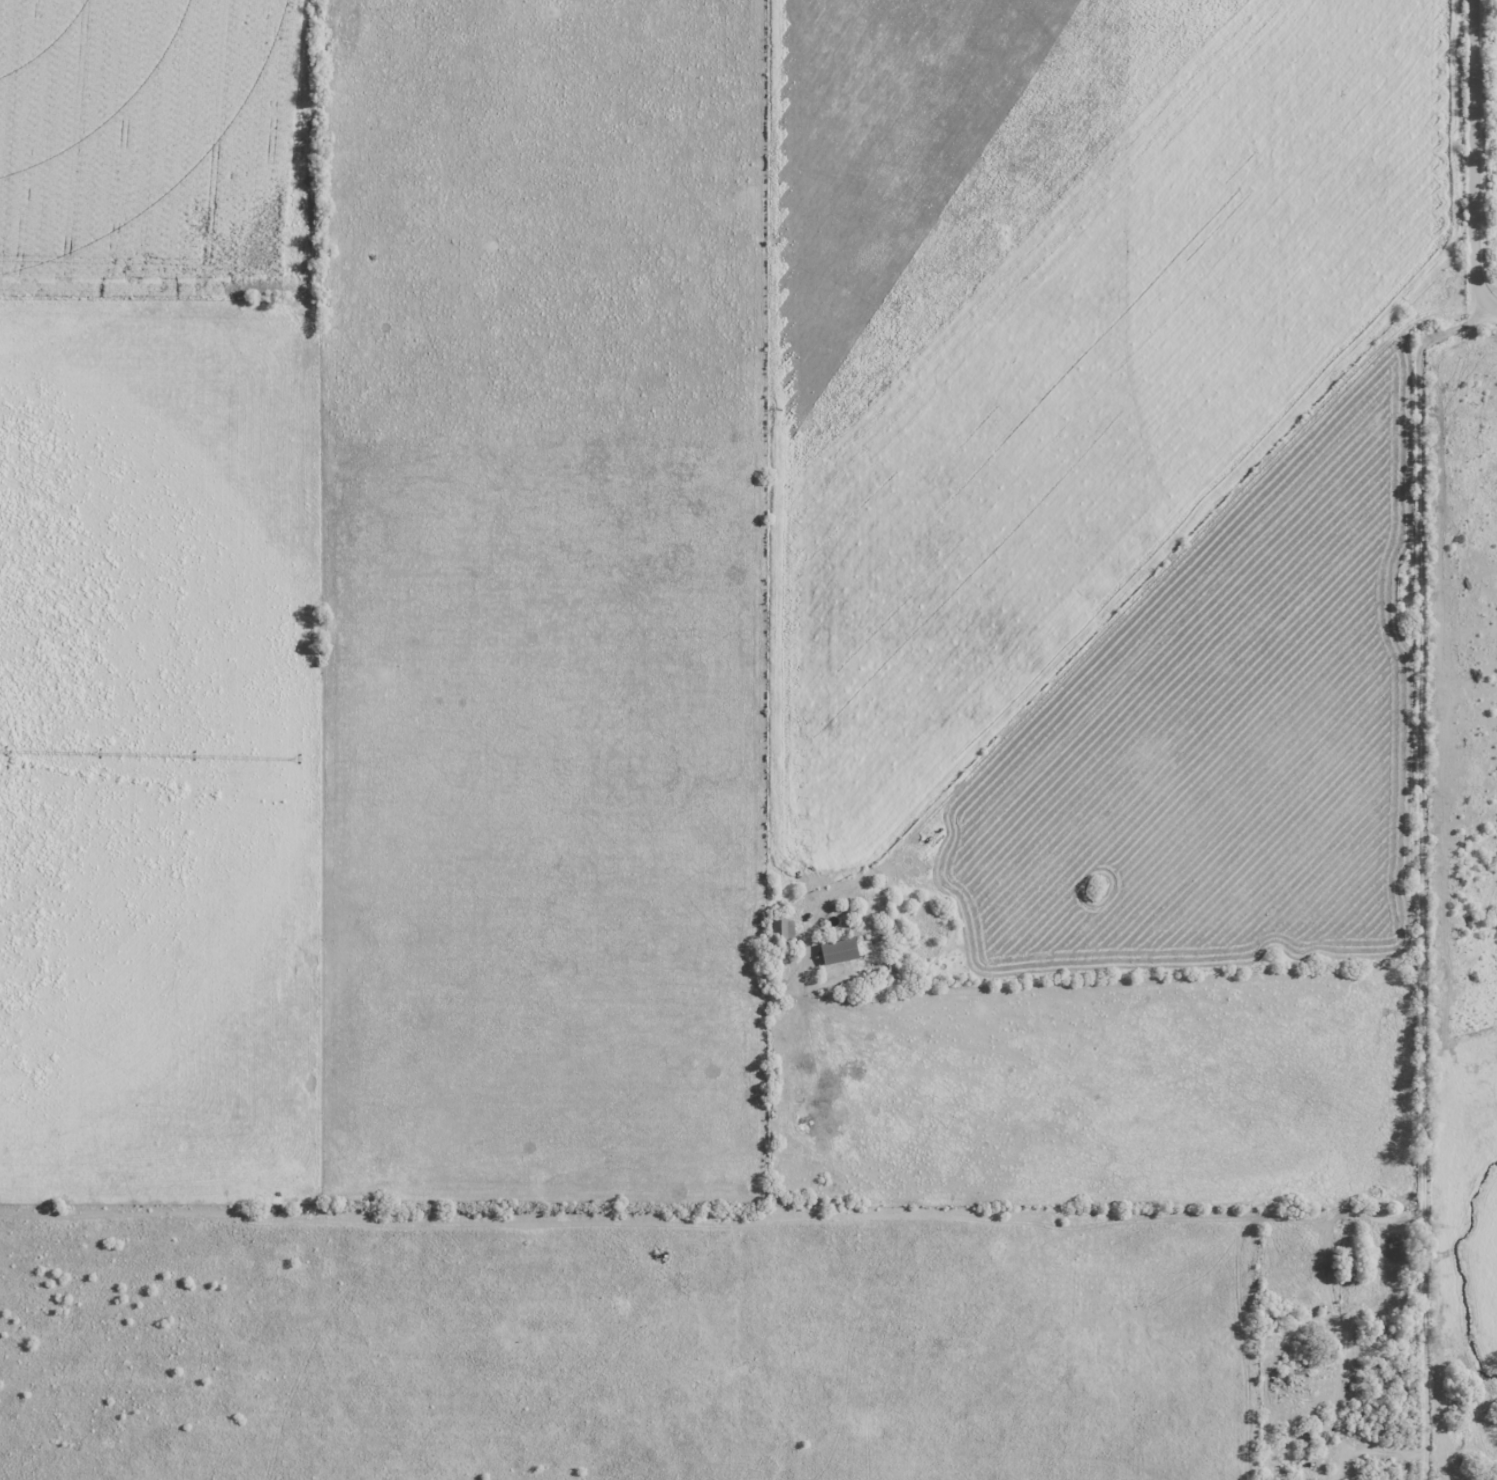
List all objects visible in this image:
road: (1475, 162)
road: (1169, 570)
building: (782, 931)
building: (840, 952)

